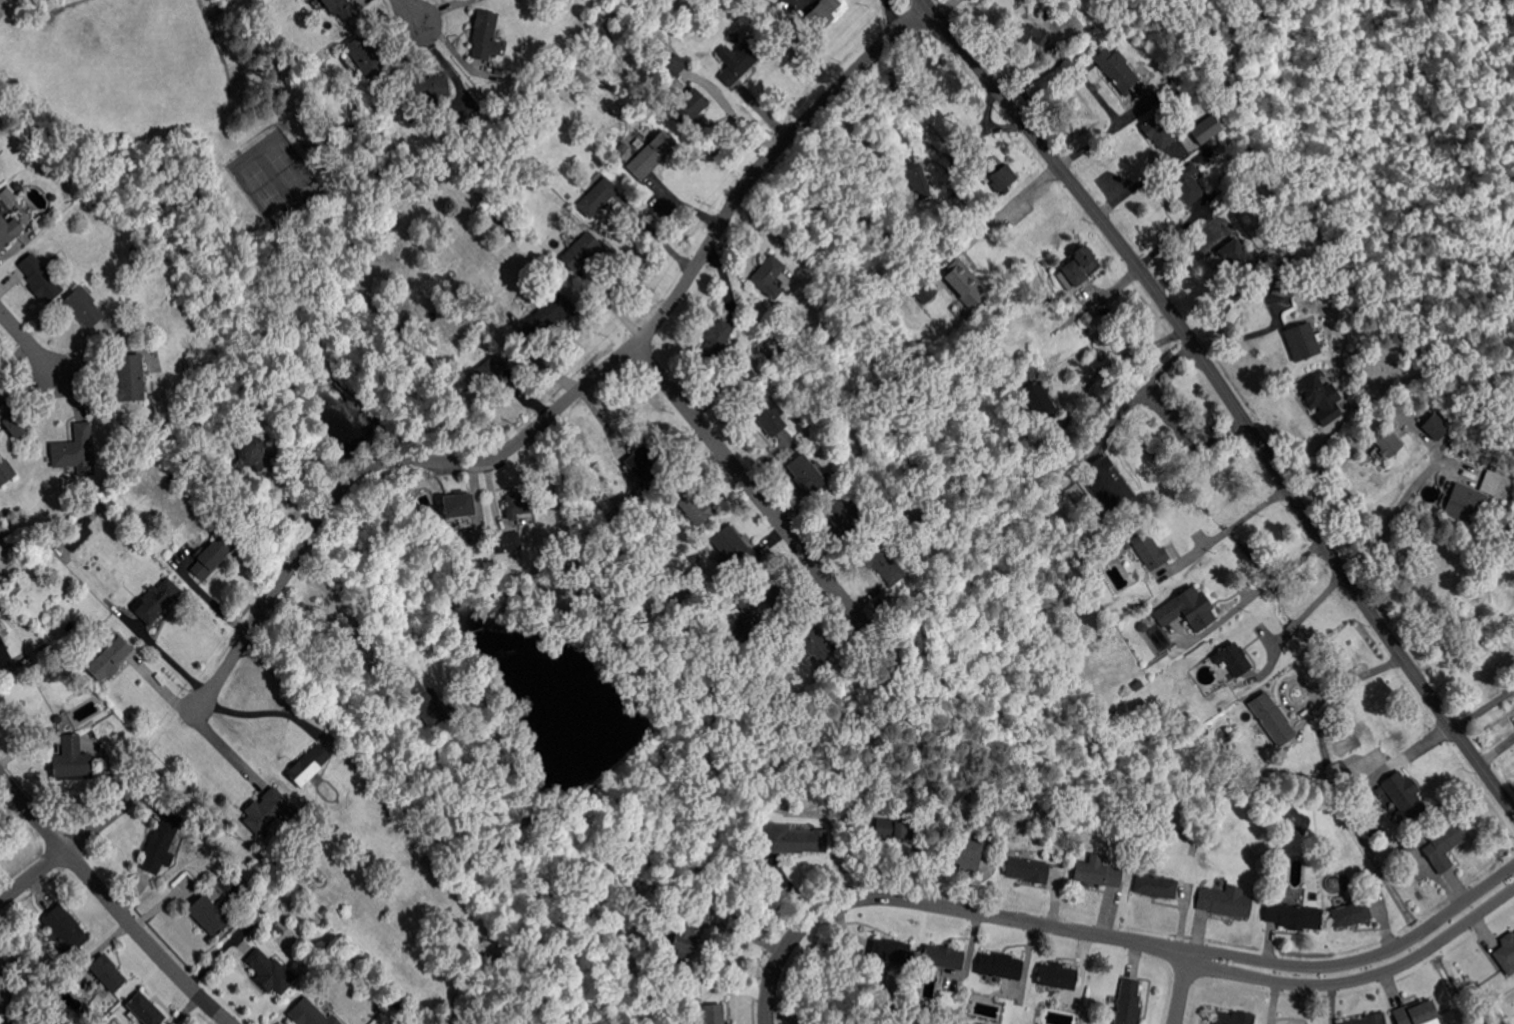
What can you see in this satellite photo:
building: (344, 9)
road: (413, 11)
road: (893, 14)
building: (819, 18)
building: (1029, 33)
building: (484, 35)
building: (365, 57)
building: (740, 60)
building: (674, 64)
building: (1118, 70)
road: (1093, 87)
building: (426, 90)
building: (563, 94)
building: (692, 106)
road: (741, 119)
building: (1204, 128)
building: (1158, 131)
building: (885, 136)
building: (1230, 141)
building: (622, 151)
building: (651, 156)
park: (273, 176)
building: (918, 177)
building: (1004, 179)
road: (1136, 182)
building: (1187, 184)
building: (16, 187)
building: (436, 194)
building: (598, 197)
building: (5, 199)
road: (1007, 208)
building: (1265, 215)
building: (9, 231)
road: (658, 235)
building: (381, 243)
building: (135, 252)
building: (580, 252)
building: (1239, 257)
building: (1079, 269)
building: (1309, 275)
building: (770, 276)
building: (1299, 279)
building: (40, 280)
building: (964, 284)
building: (1282, 286)
building: (924, 291)
road: (1271, 303)
building: (84, 307)
building: (551, 313)
building: (718, 338)
building: (1041, 338)
building: (1301, 341)
road: (29, 342)
building: (490, 370)
building: (130, 378)
building: (0, 380)
building: (726, 382)
road: (1143, 388)
road: (576, 394)
road: (1229, 397)
building: (1317, 399)
building: (1039, 401)
building: (767, 412)
building: (13, 419)
building: (1434, 427)
building: (1387, 443)
building: (75, 449)
building: (251, 452)
building: (647, 459)
road: (1338, 462)
building: (593, 470)
building: (6, 472)
building: (807, 474)
road: (750, 484)
building: (411, 485)
building: (1108, 485)
building: (1494, 485)
building: (635, 497)
building: (691, 503)
building: (1464, 504)
building: (518, 506)
building: (459, 510)
building: (8, 514)
building: (838, 514)
building: (1092, 516)
road: (1390, 521)
road: (1229, 526)
building: (75, 539)
building: (507, 542)
building: (735, 547)
building: (1149, 551)
building: (211, 557)
building: (882, 562)
building: (32, 574)
road: (1264, 584)
building: (770, 589)
building: (1494, 598)
building: (158, 600)
building: (747, 609)
building: (1187, 609)
road: (348, 614)
road: (1294, 621)
building: (739, 632)
building: (811, 640)
building: (4, 648)
building: (44, 650)
building: (111, 659)
building: (1236, 659)
road: (1346, 680)
building: (1223, 688)
building: (427, 704)
road: (1483, 704)
building: (1242, 705)
road: (268, 711)
building: (1273, 719)
road: (210, 725)
road: (1417, 748)
building: (73, 760)
building: (310, 764)
building: (1404, 796)
building: (270, 810)
road: (114, 812)
building: (897, 827)
building: (340, 828)
building: (1374, 835)
building: (793, 840)
building: (162, 844)
building: (1445, 845)
building: (1403, 849)
building: (969, 854)
building: (285, 869)
building: (1028, 870)
building: (1096, 872)
road: (33, 877)
building: (1154, 887)
building: (684, 898)
road: (112, 902)
building: (1225, 903)
building: (325, 910)
building: (1351, 914)
building: (211, 915)
building: (1294, 916)
building: (66, 928)
building: (278, 928)
road: (1115, 937)
building: (682, 944)
building: (891, 951)
building: (1506, 951)
building: (944, 957)
building: (1001, 966)
building: (270, 971)
building: (109, 973)
building: (1058, 976)
road: (1183, 989)
building: (1129, 1003)
building: (146, 1009)
building: (1416, 1013)
building: (312, 1014)
building: (713, 1014)
building: (1234, 1018)
building: (1369, 1019)

